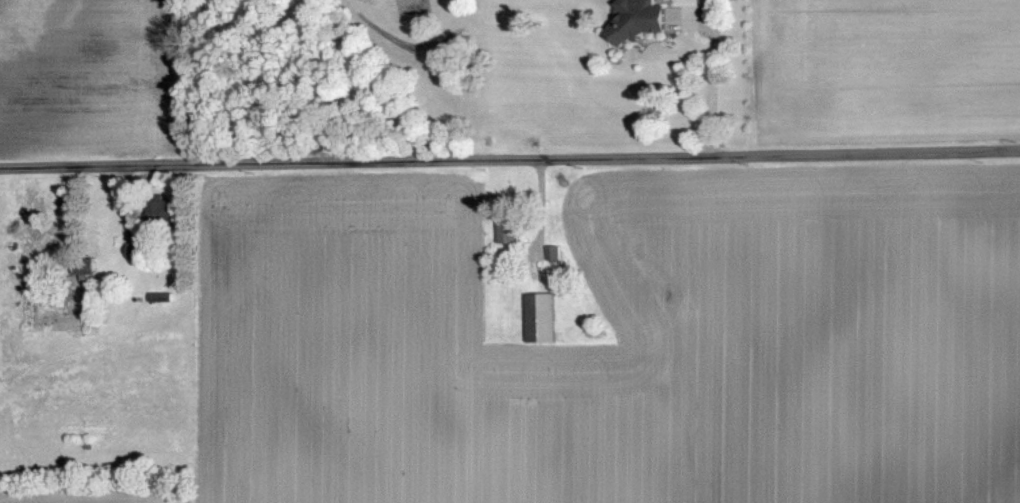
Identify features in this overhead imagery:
building: (638, 19)
crop: (890, 70)
crop: (99, 77)
road: (712, 78)
road: (510, 161)
building: (506, 230)
building: (132, 249)
building: (552, 253)
building: (83, 266)
building: (159, 297)
building: (539, 318)

